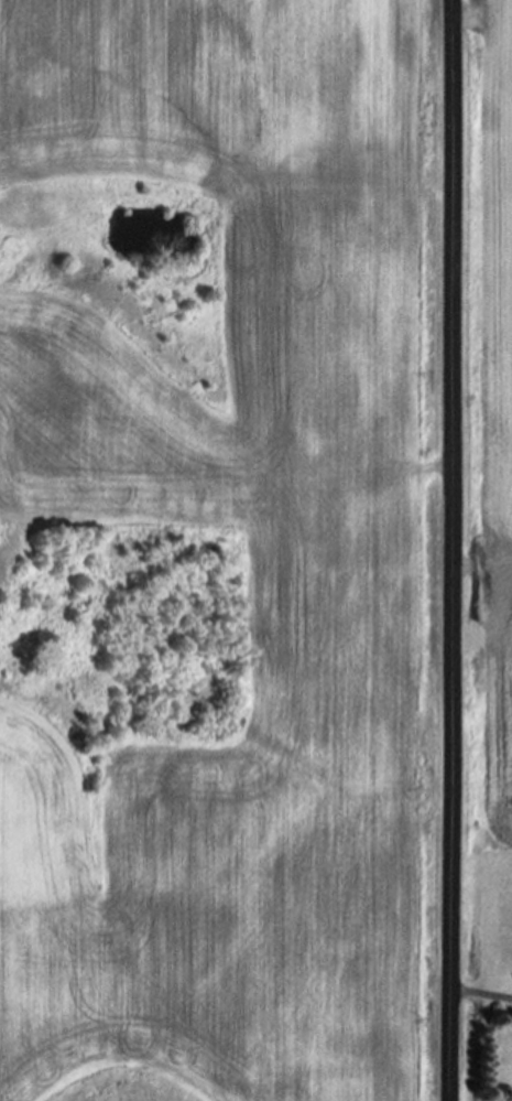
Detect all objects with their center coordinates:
road: (448, 550)
road: (480, 995)

